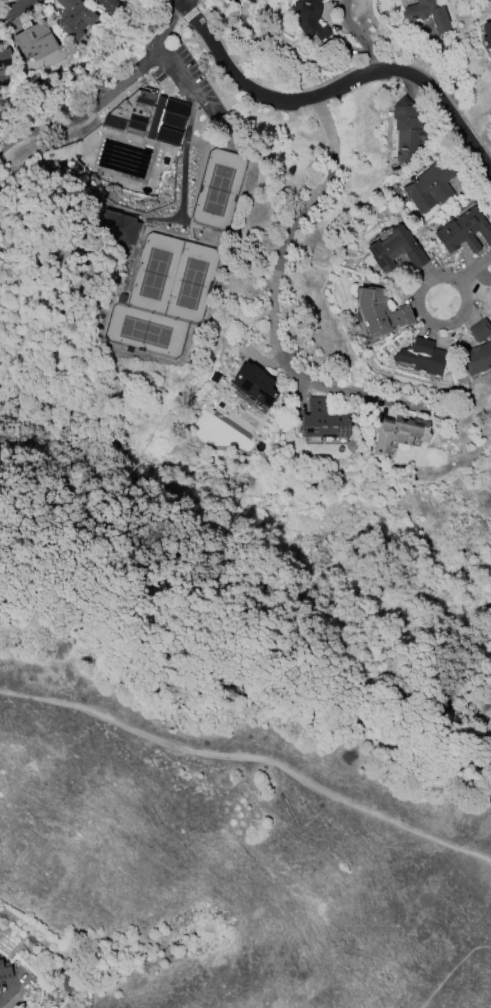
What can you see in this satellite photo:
road: (180, 1)
building: (232, 1)
building: (250, 1)
building: (108, 4)
road: (16, 10)
building: (428, 14)
building: (75, 18)
building: (309, 20)
building: (486, 34)
road: (358, 36)
building: (34, 40)
building: (5, 57)
road: (102, 88)
road: (333, 89)
building: (149, 117)
road: (193, 129)
building: (408, 131)
building: (429, 187)
building: (121, 231)
building: (463, 231)
building: (396, 249)
road: (465, 278)
building: (379, 311)
road: (279, 317)
building: (480, 330)
building: (420, 356)
building: (477, 358)
building: (254, 384)
building: (323, 421)
building: (398, 432)
road: (253, 754)
building: (5, 970)
road: (15, 991)

